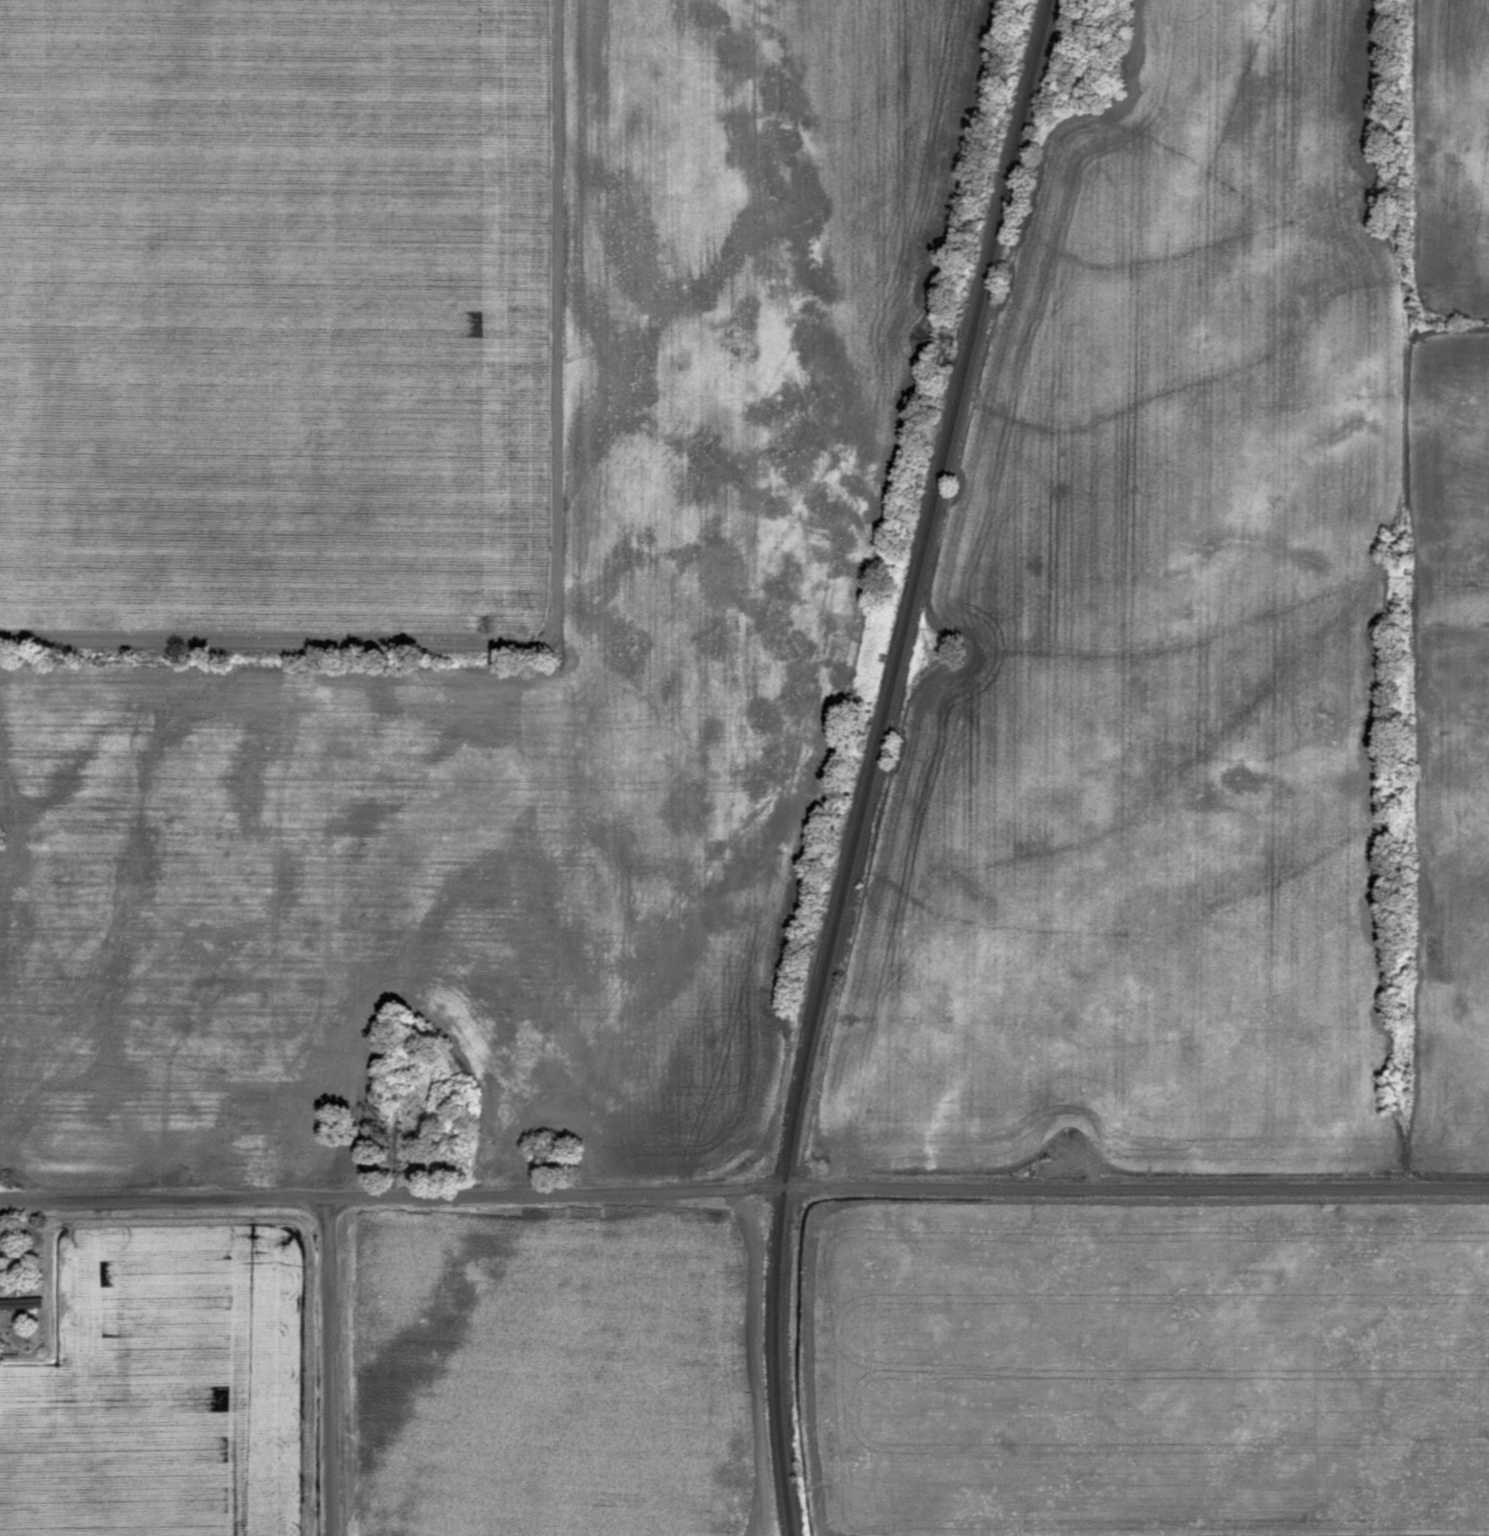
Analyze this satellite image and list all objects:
railway: (872, 763)
building: (409, 1113)
road: (744, 1184)
building: (22, 1300)
road: (327, 1365)

